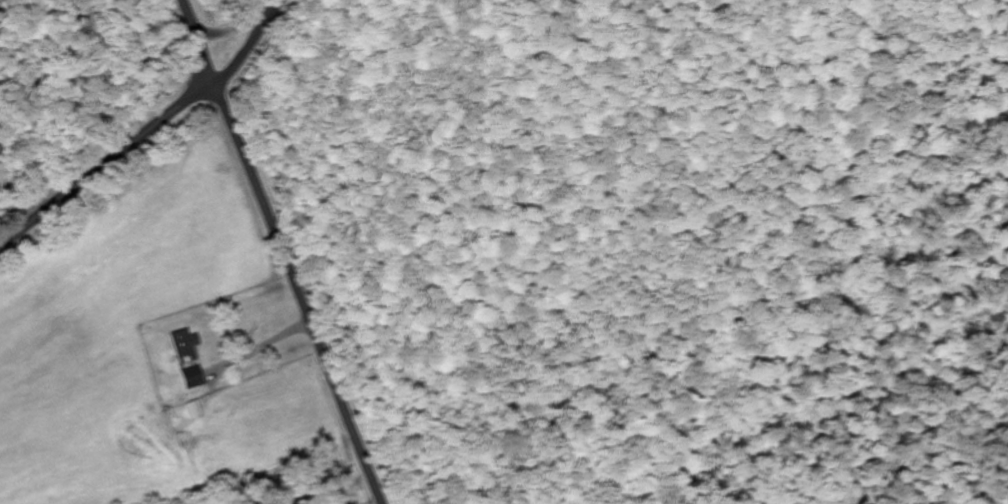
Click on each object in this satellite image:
road: (253, 44)
road: (105, 162)
road: (281, 251)
building: (185, 347)
building: (192, 379)

